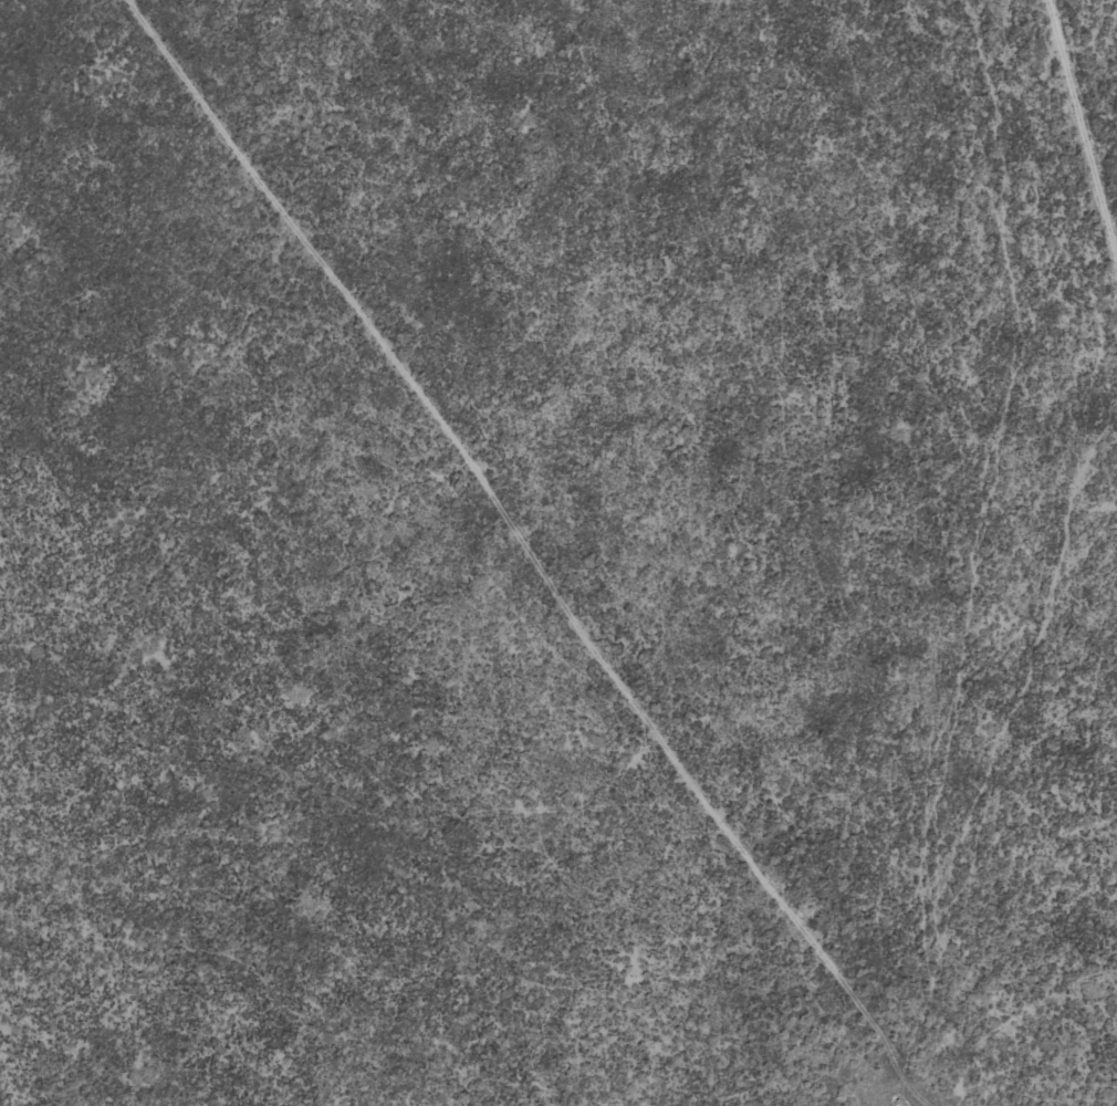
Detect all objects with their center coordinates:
road: (1098, 66)

